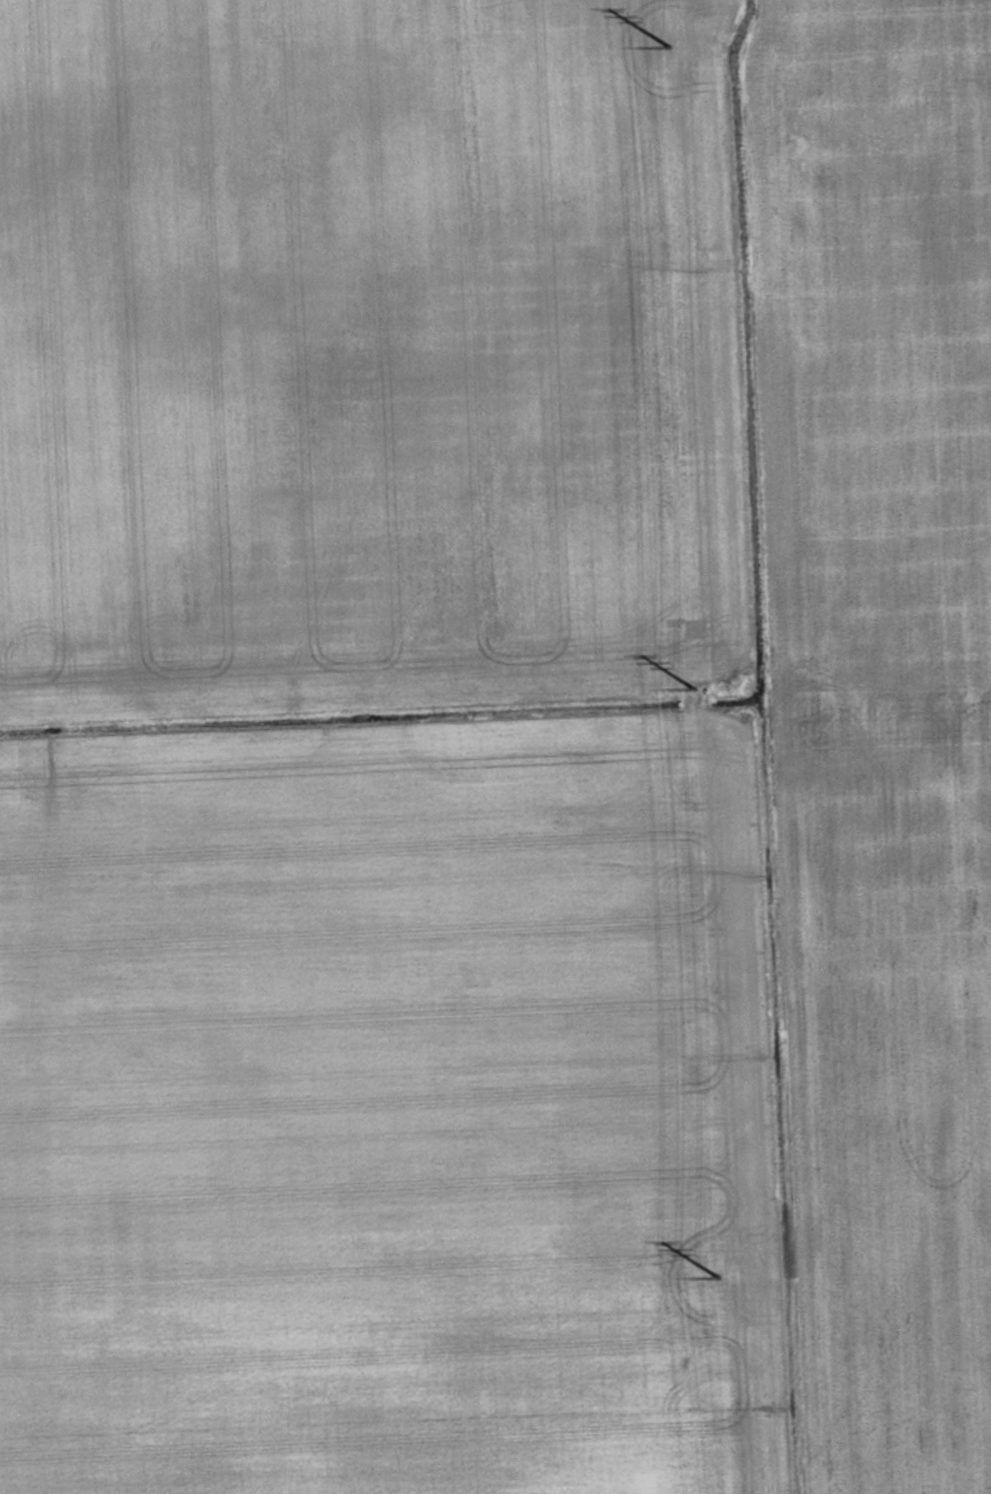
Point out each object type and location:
power tower: (668, 42)
power tower: (689, 681)
power tower: (708, 1271)

